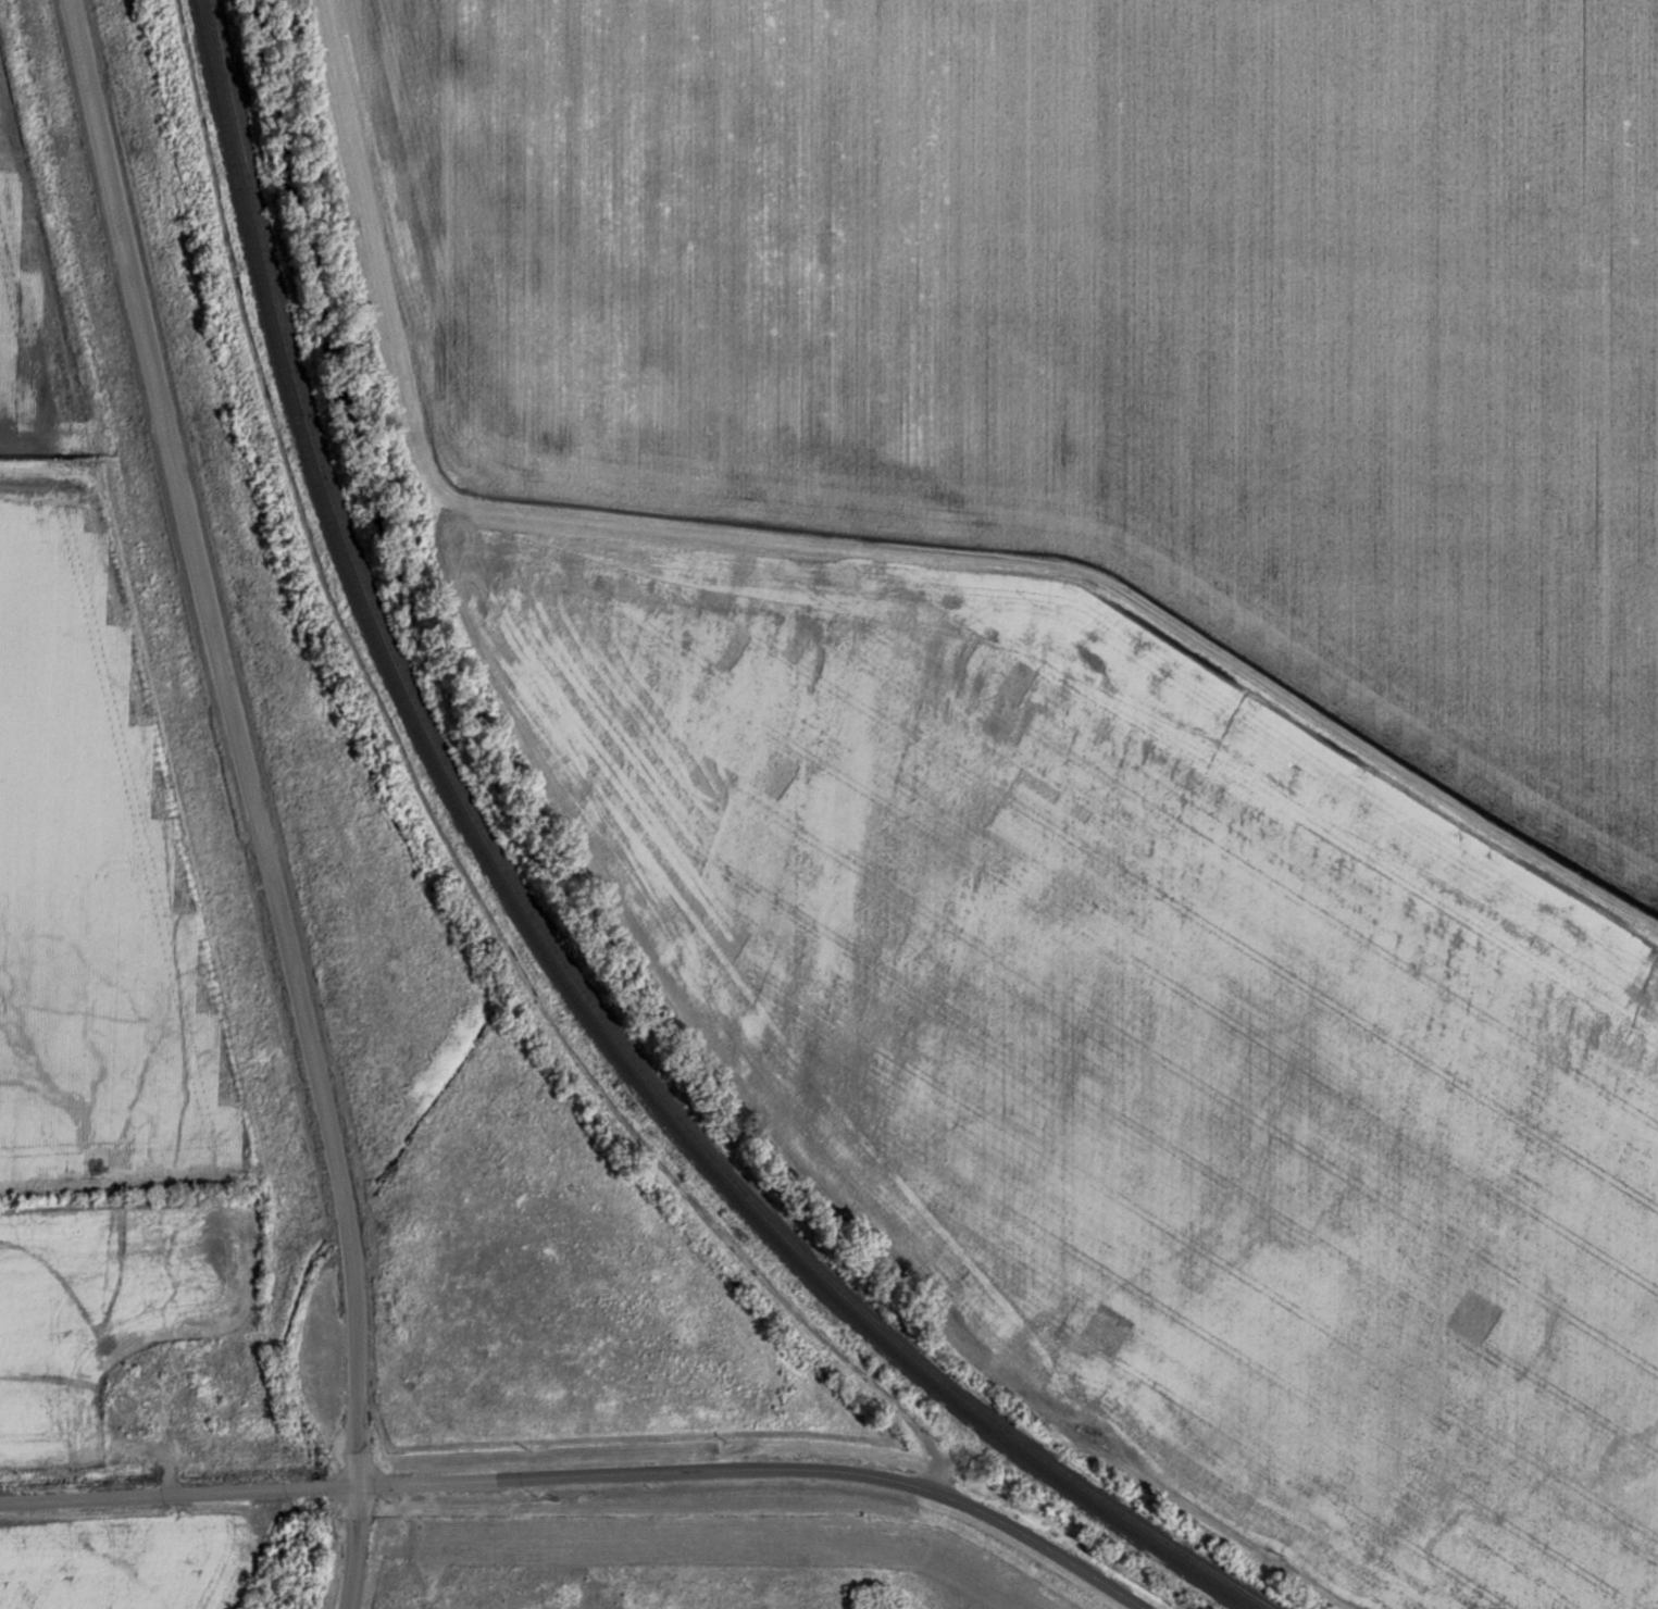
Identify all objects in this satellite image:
road: (242, 739)
railway: (529, 931)
railway: (544, 934)
road: (588, 1474)
road: (1231, 1534)
road: (350, 1548)

